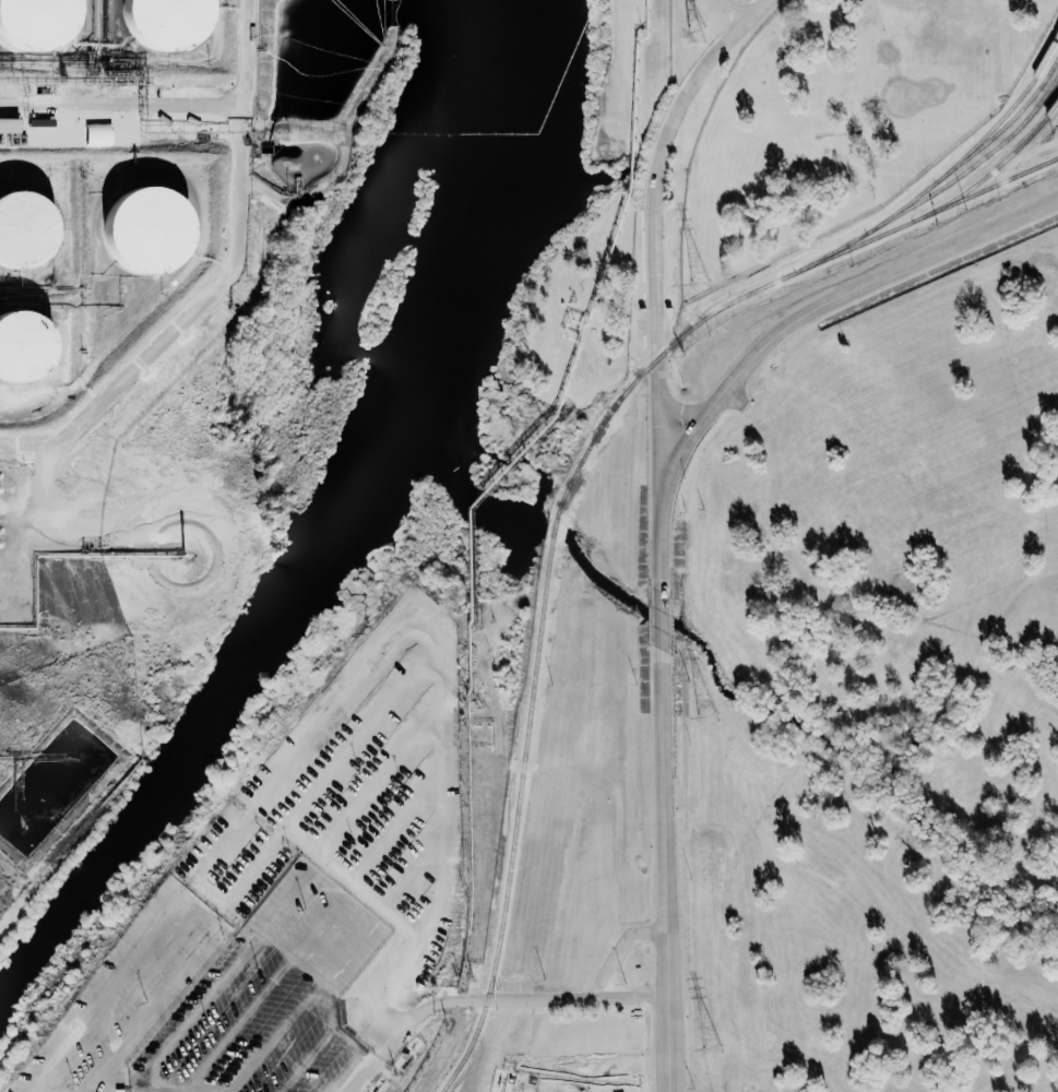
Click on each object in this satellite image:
building: (35, 24)
building: (165, 24)
power tower: (696, 34)
road: (119, 105)
building: (9, 126)
railway: (1003, 126)
building: (97, 134)
railway: (972, 165)
railway: (990, 170)
railway: (943, 174)
building: (24, 230)
building: (145, 232)
road: (655, 276)
road: (217, 278)
power tower: (700, 282)
road: (830, 306)
building: (22, 348)
railway: (564, 492)
road: (662, 619)
power tower: (706, 716)
road: (666, 870)
road: (192, 892)
road: (305, 942)
road: (314, 993)
road: (489, 999)
power tower: (712, 1048)
road: (307, 1058)
road: (629, 1067)
road: (606, 1089)

